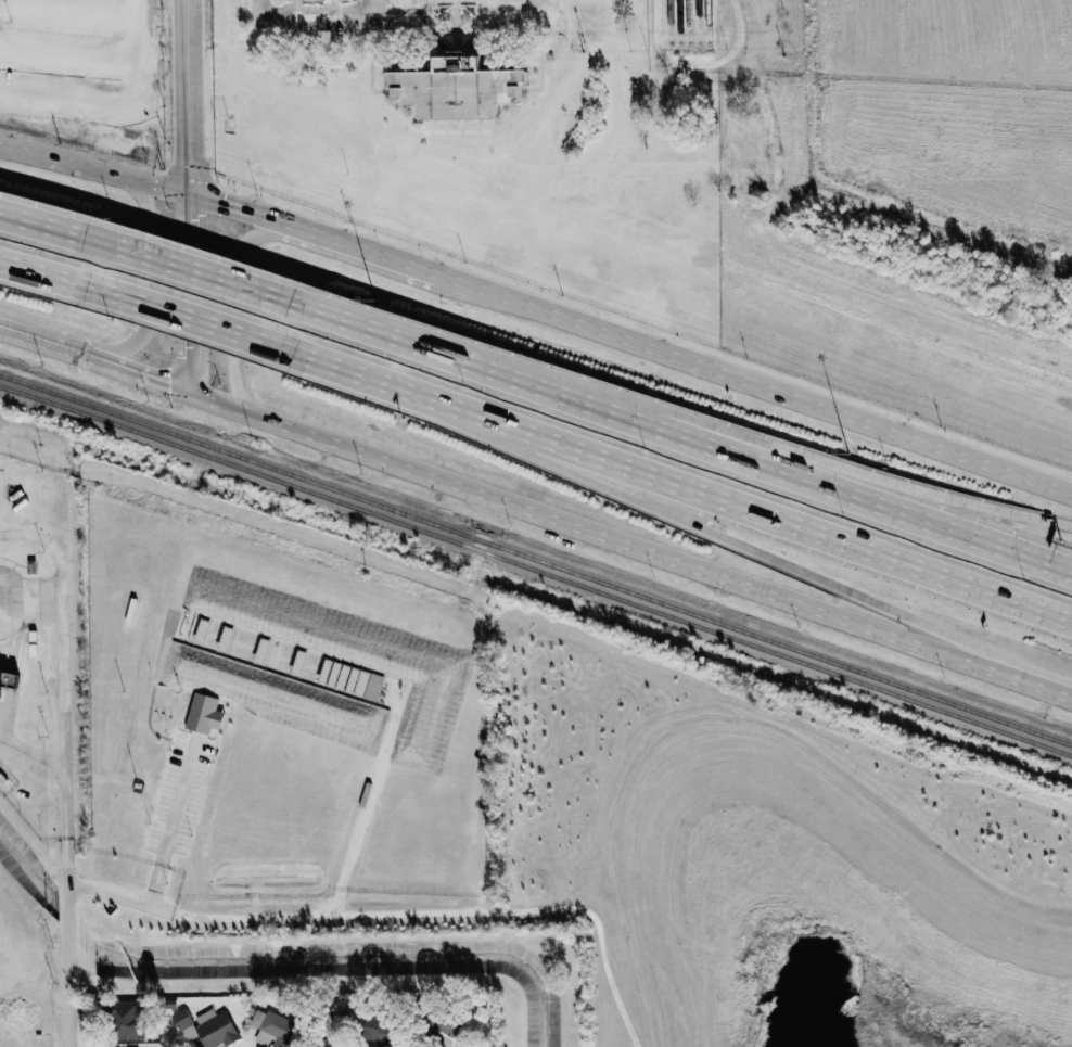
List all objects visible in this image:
road: (373, 5)
road: (292, 7)
road: (328, 7)
road: (334, 12)
railway: (688, 21)
railway: (698, 21)
railway: (707, 21)
railway: (669, 22)
railway: (679, 22)
building: (456, 90)
road: (195, 101)
road: (99, 171)
traffic signals: (197, 203)
road: (237, 213)
road: (38, 231)
road: (356, 248)
road: (169, 273)
road: (37, 277)
road: (148, 277)
road: (194, 294)
road: (232, 305)
road: (163, 315)
road: (54, 343)
road: (150, 372)
road: (754, 385)
traffic signals: (191, 386)
road: (378, 386)
road: (667, 432)
road: (788, 454)
road: (788, 526)
road: (43, 537)
road: (629, 544)
road: (742, 547)
railway: (536, 559)
railway: (536, 569)
building: (8, 677)
building: (369, 685)
building: (204, 713)
road: (31, 750)
road: (66, 810)
road: (170, 825)
road: (281, 920)
building: (124, 1020)
building: (206, 1026)
building: (272, 1029)
building: (377, 1031)

